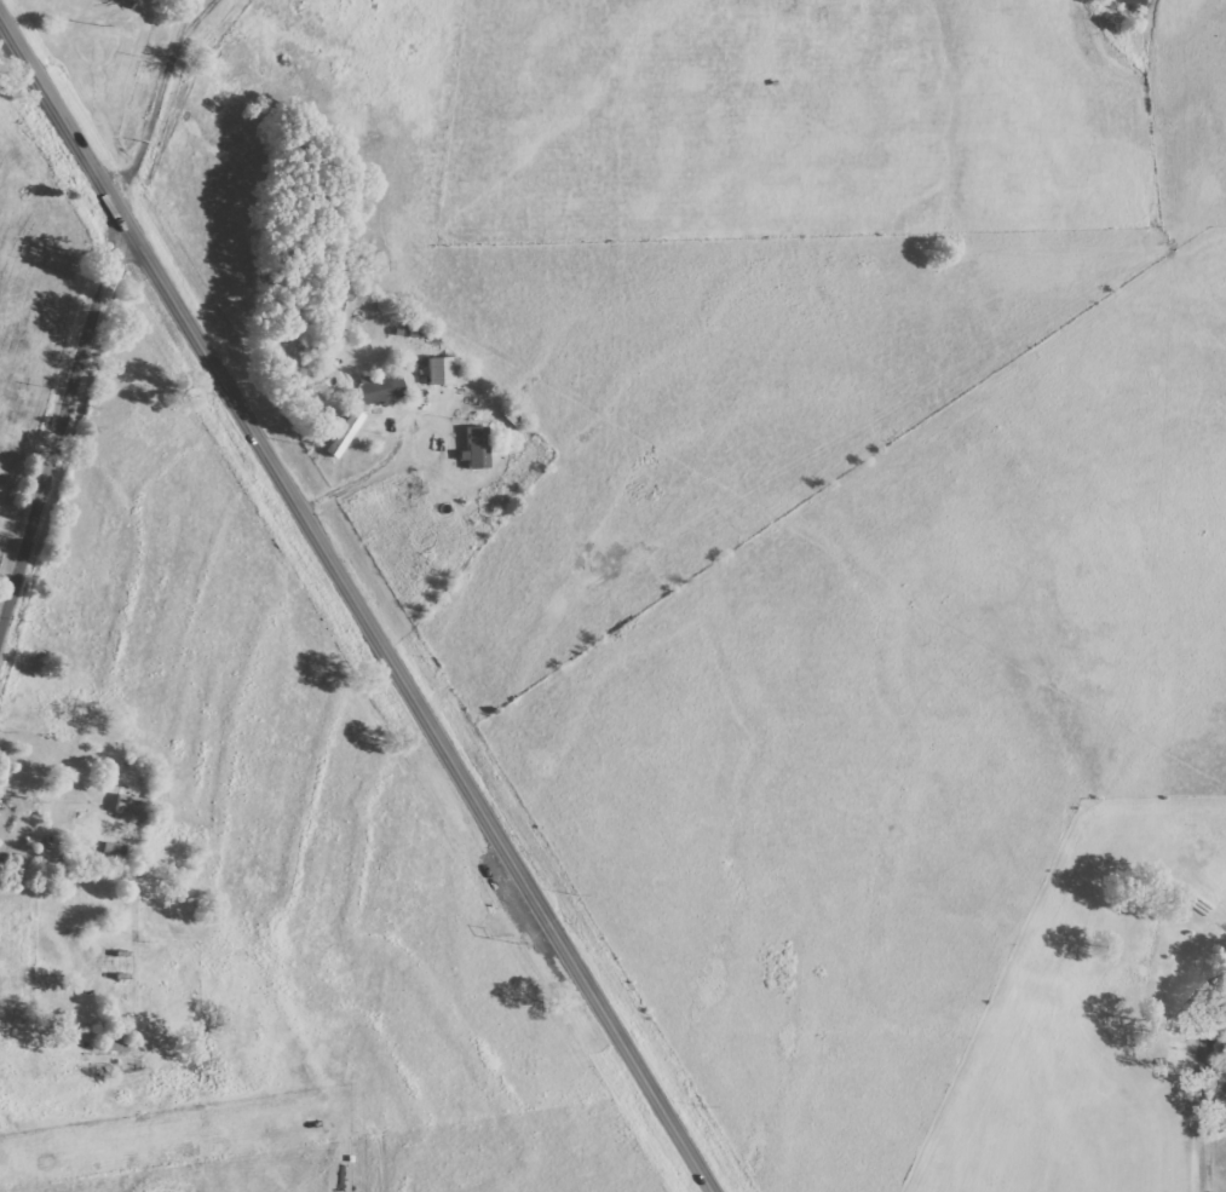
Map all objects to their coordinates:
building: (444, 373)
building: (380, 391)
building: (344, 434)
road: (61, 439)
building: (476, 449)
road: (355, 601)
building: (126, 805)
road: (1203, 1064)

